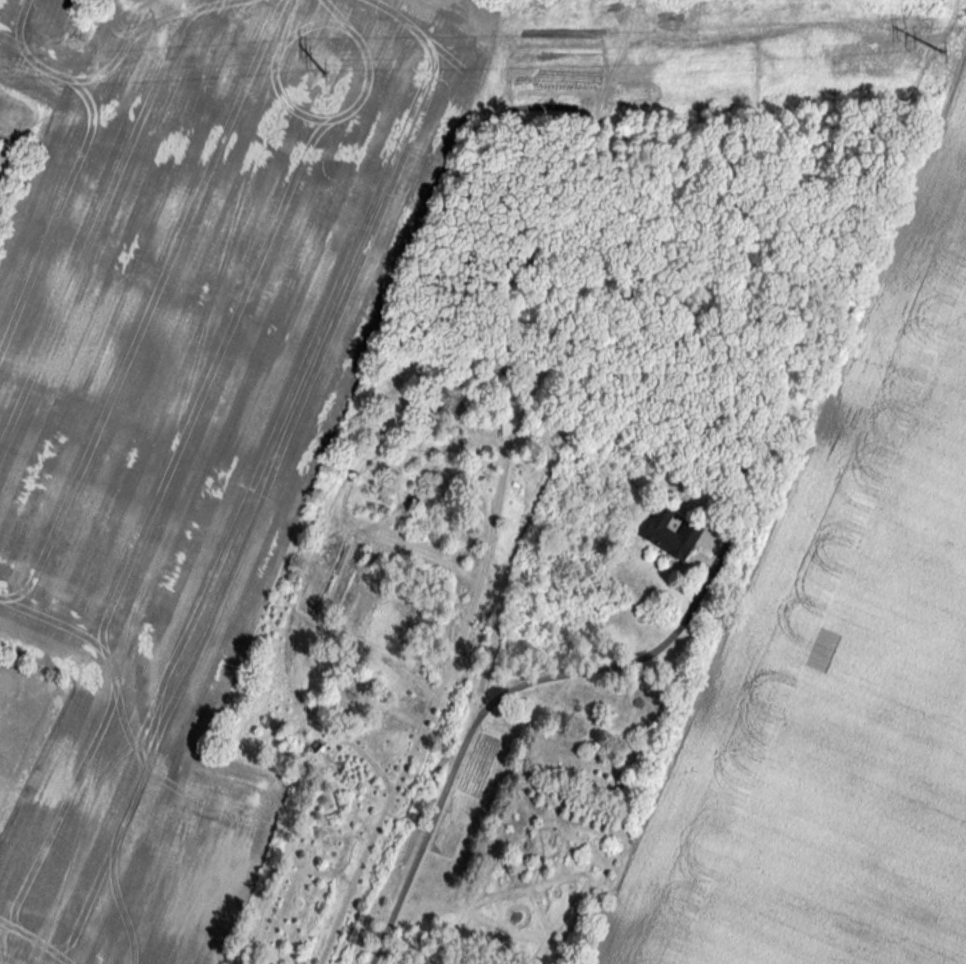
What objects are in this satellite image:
power tower: (937, 58)
power tower: (313, 81)
building: (707, 304)
crop: (185, 410)
building: (670, 535)
crop: (838, 692)
road: (482, 712)

